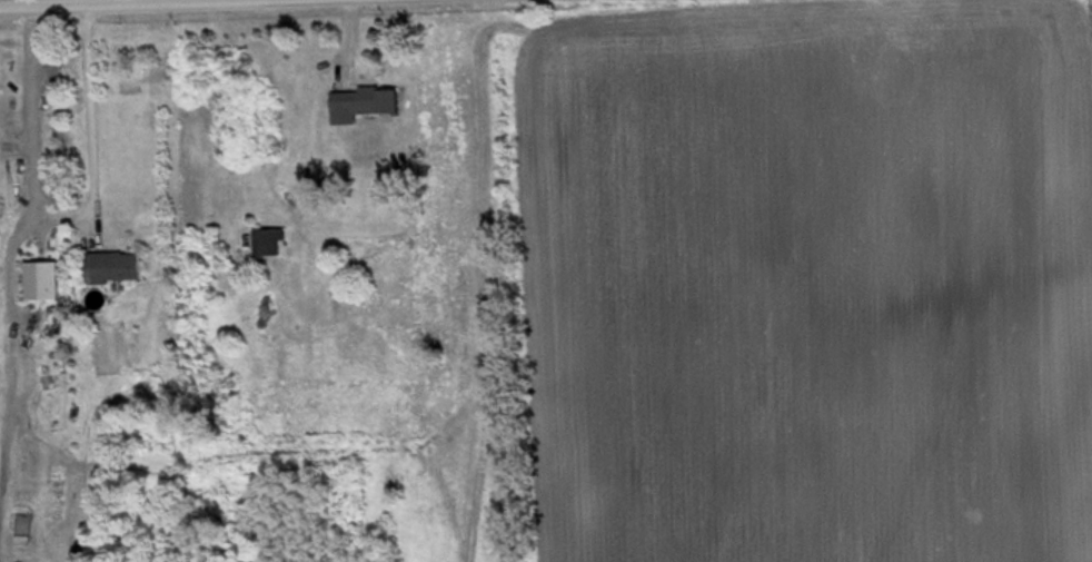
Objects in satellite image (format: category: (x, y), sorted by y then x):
road: (97, 2)
building: (369, 105)
road: (92, 115)
building: (271, 245)
building: (117, 269)
building: (44, 283)

